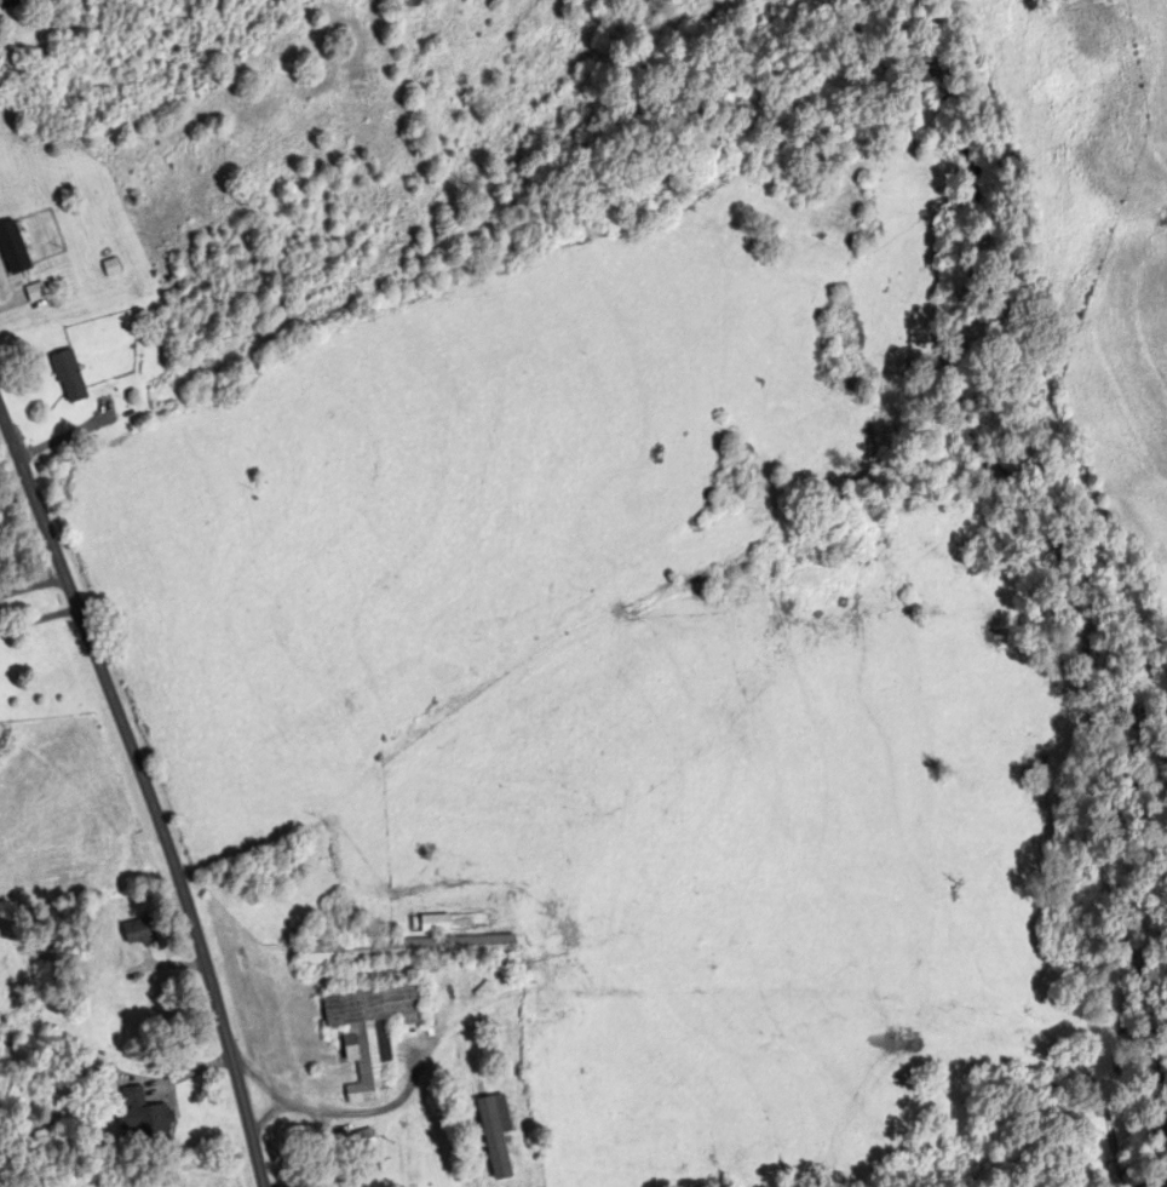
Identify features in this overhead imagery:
building: (416, 2)
building: (13, 250)
building: (111, 269)
building: (34, 293)
building: (69, 377)
road: (33, 586)
road: (39, 618)
road: (148, 792)
building: (139, 933)
building: (38, 946)
building: (408, 950)
building: (109, 1017)
building: (369, 1033)
building: (473, 1054)
building: (142, 1114)
building: (495, 1135)

